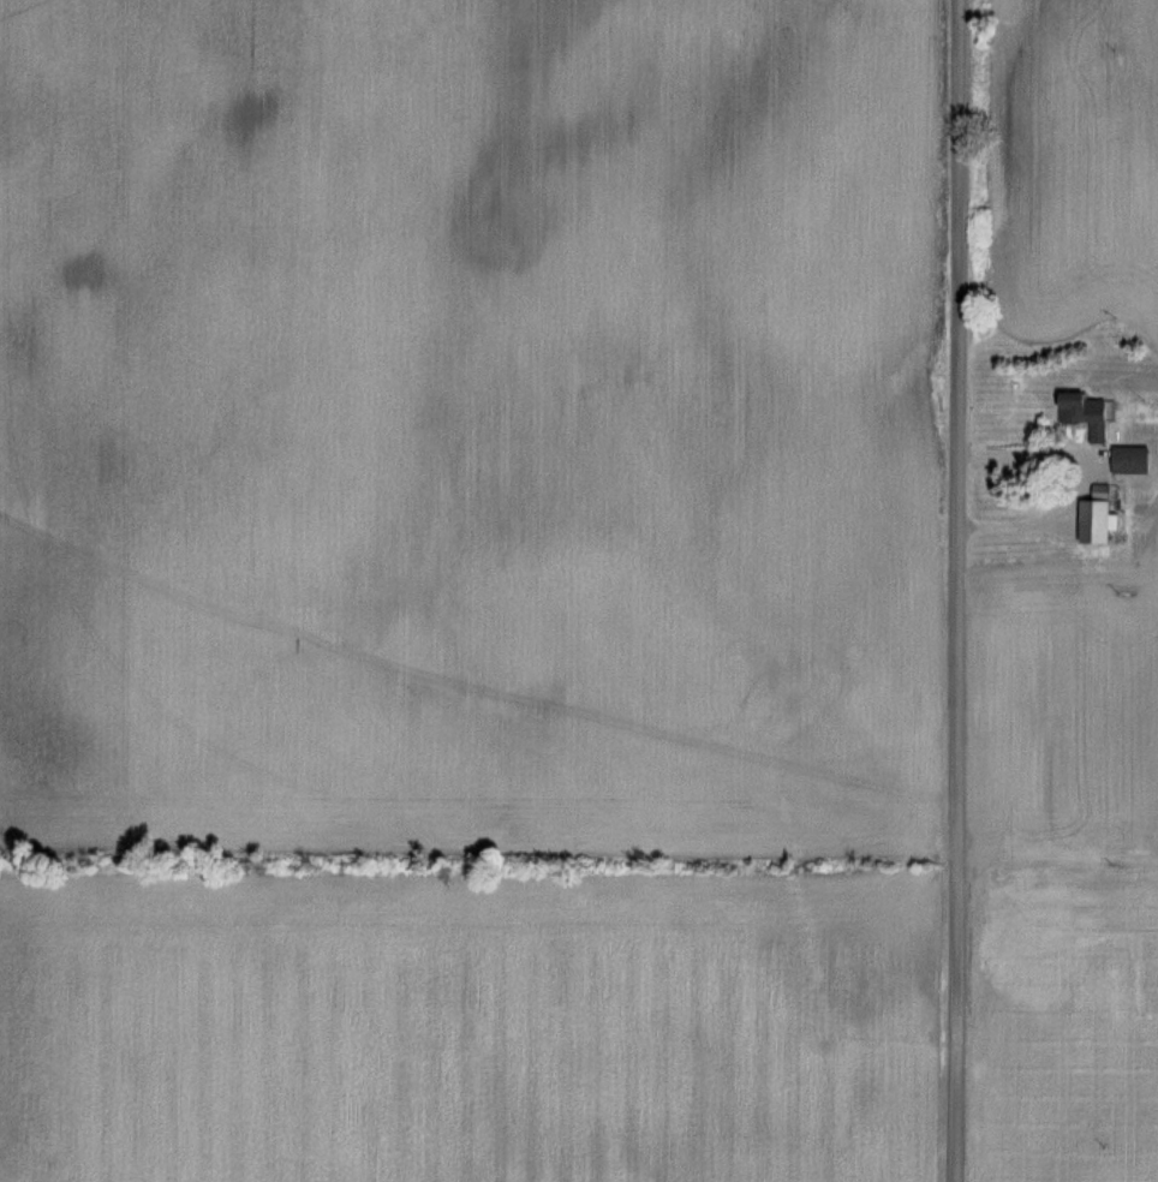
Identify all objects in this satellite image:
building: (1080, 413)
building: (1128, 459)
road: (1086, 473)
building: (1090, 520)
road: (960, 591)

